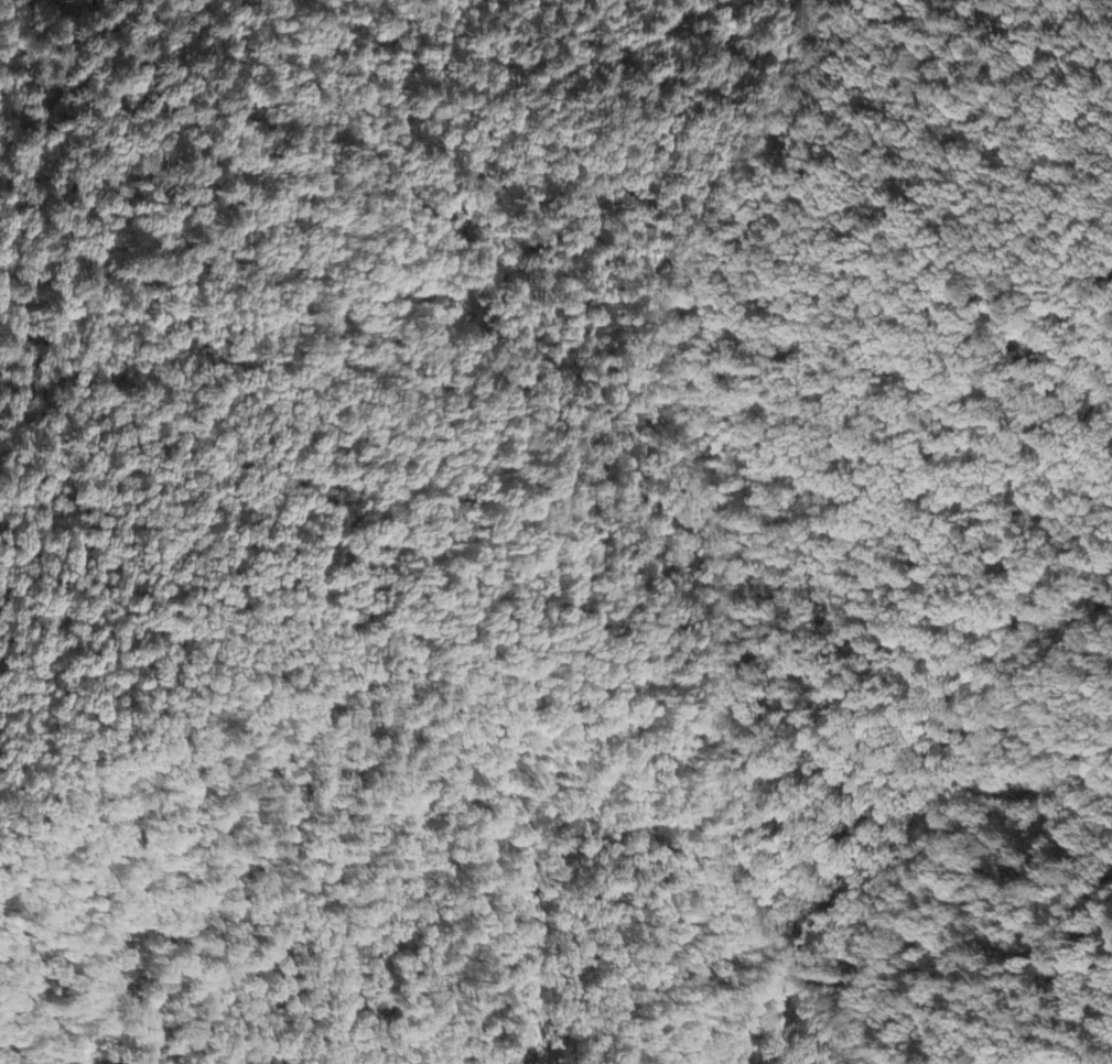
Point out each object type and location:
road: (939, 756)
road: (250, 988)
road: (481, 1054)

